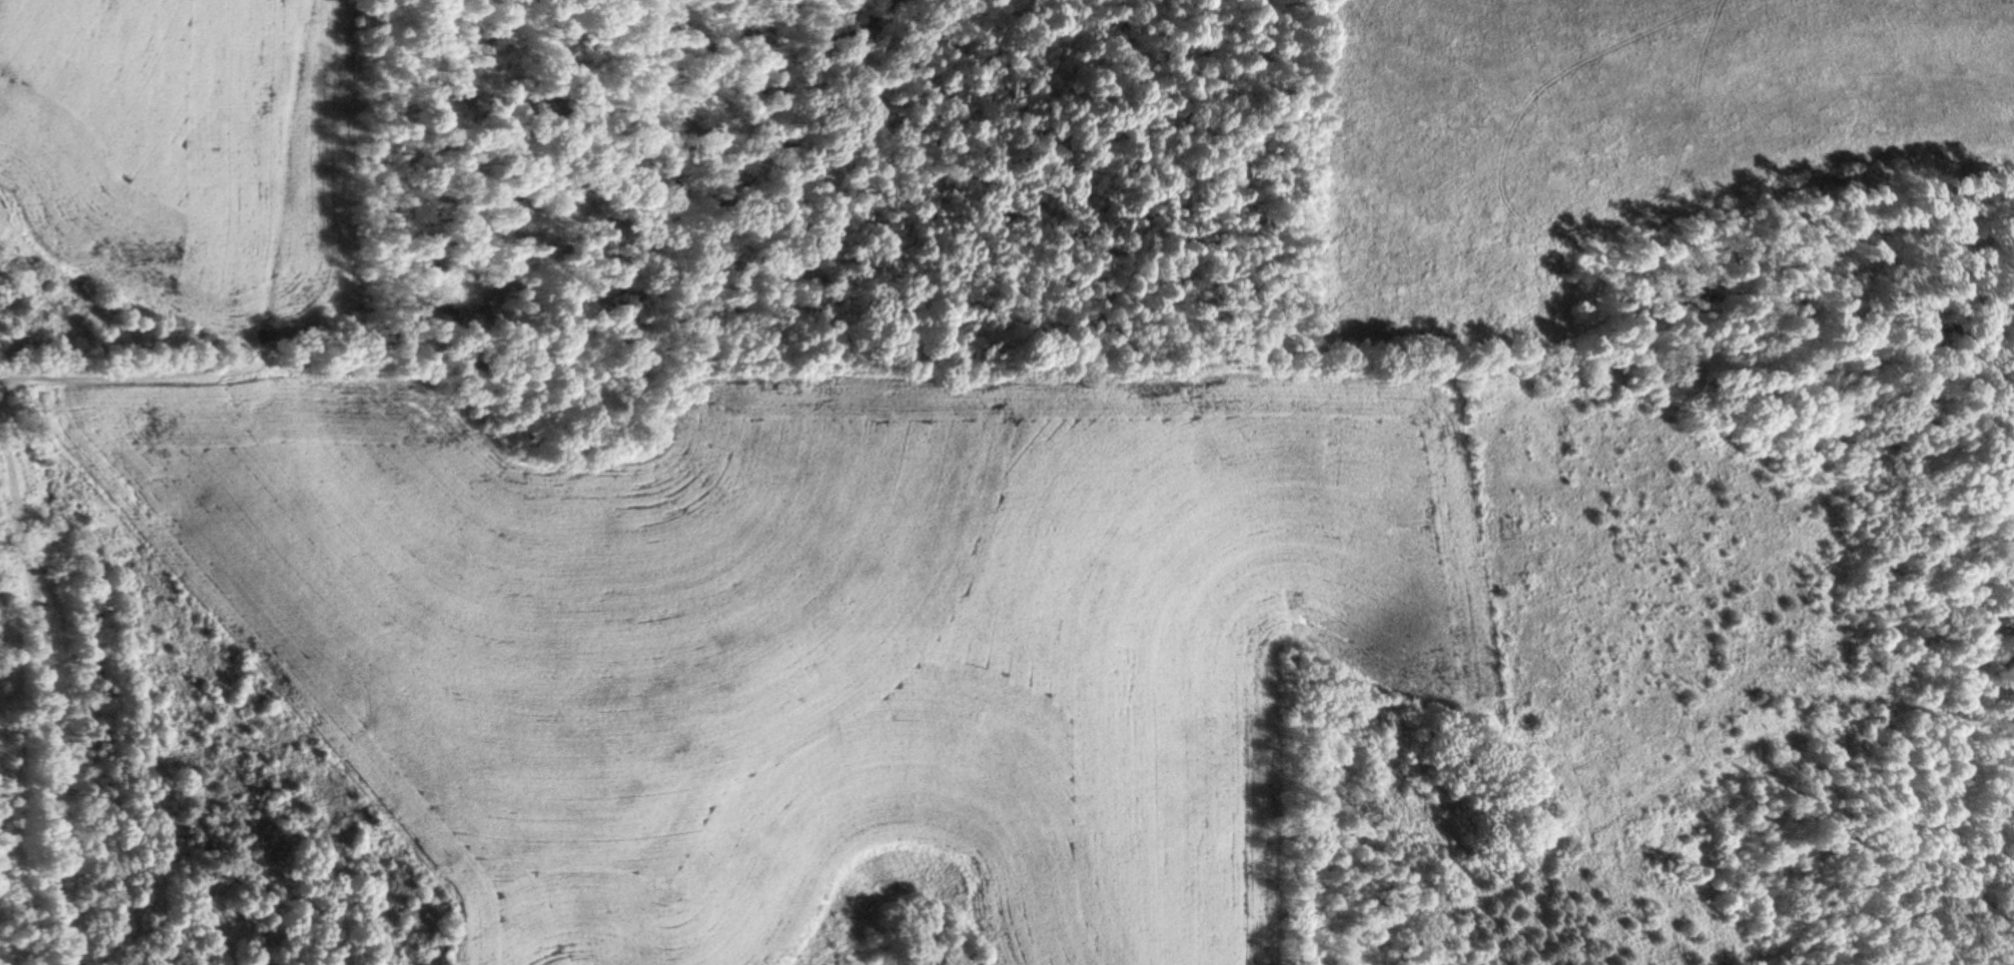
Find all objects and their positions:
road: (28, 697)

